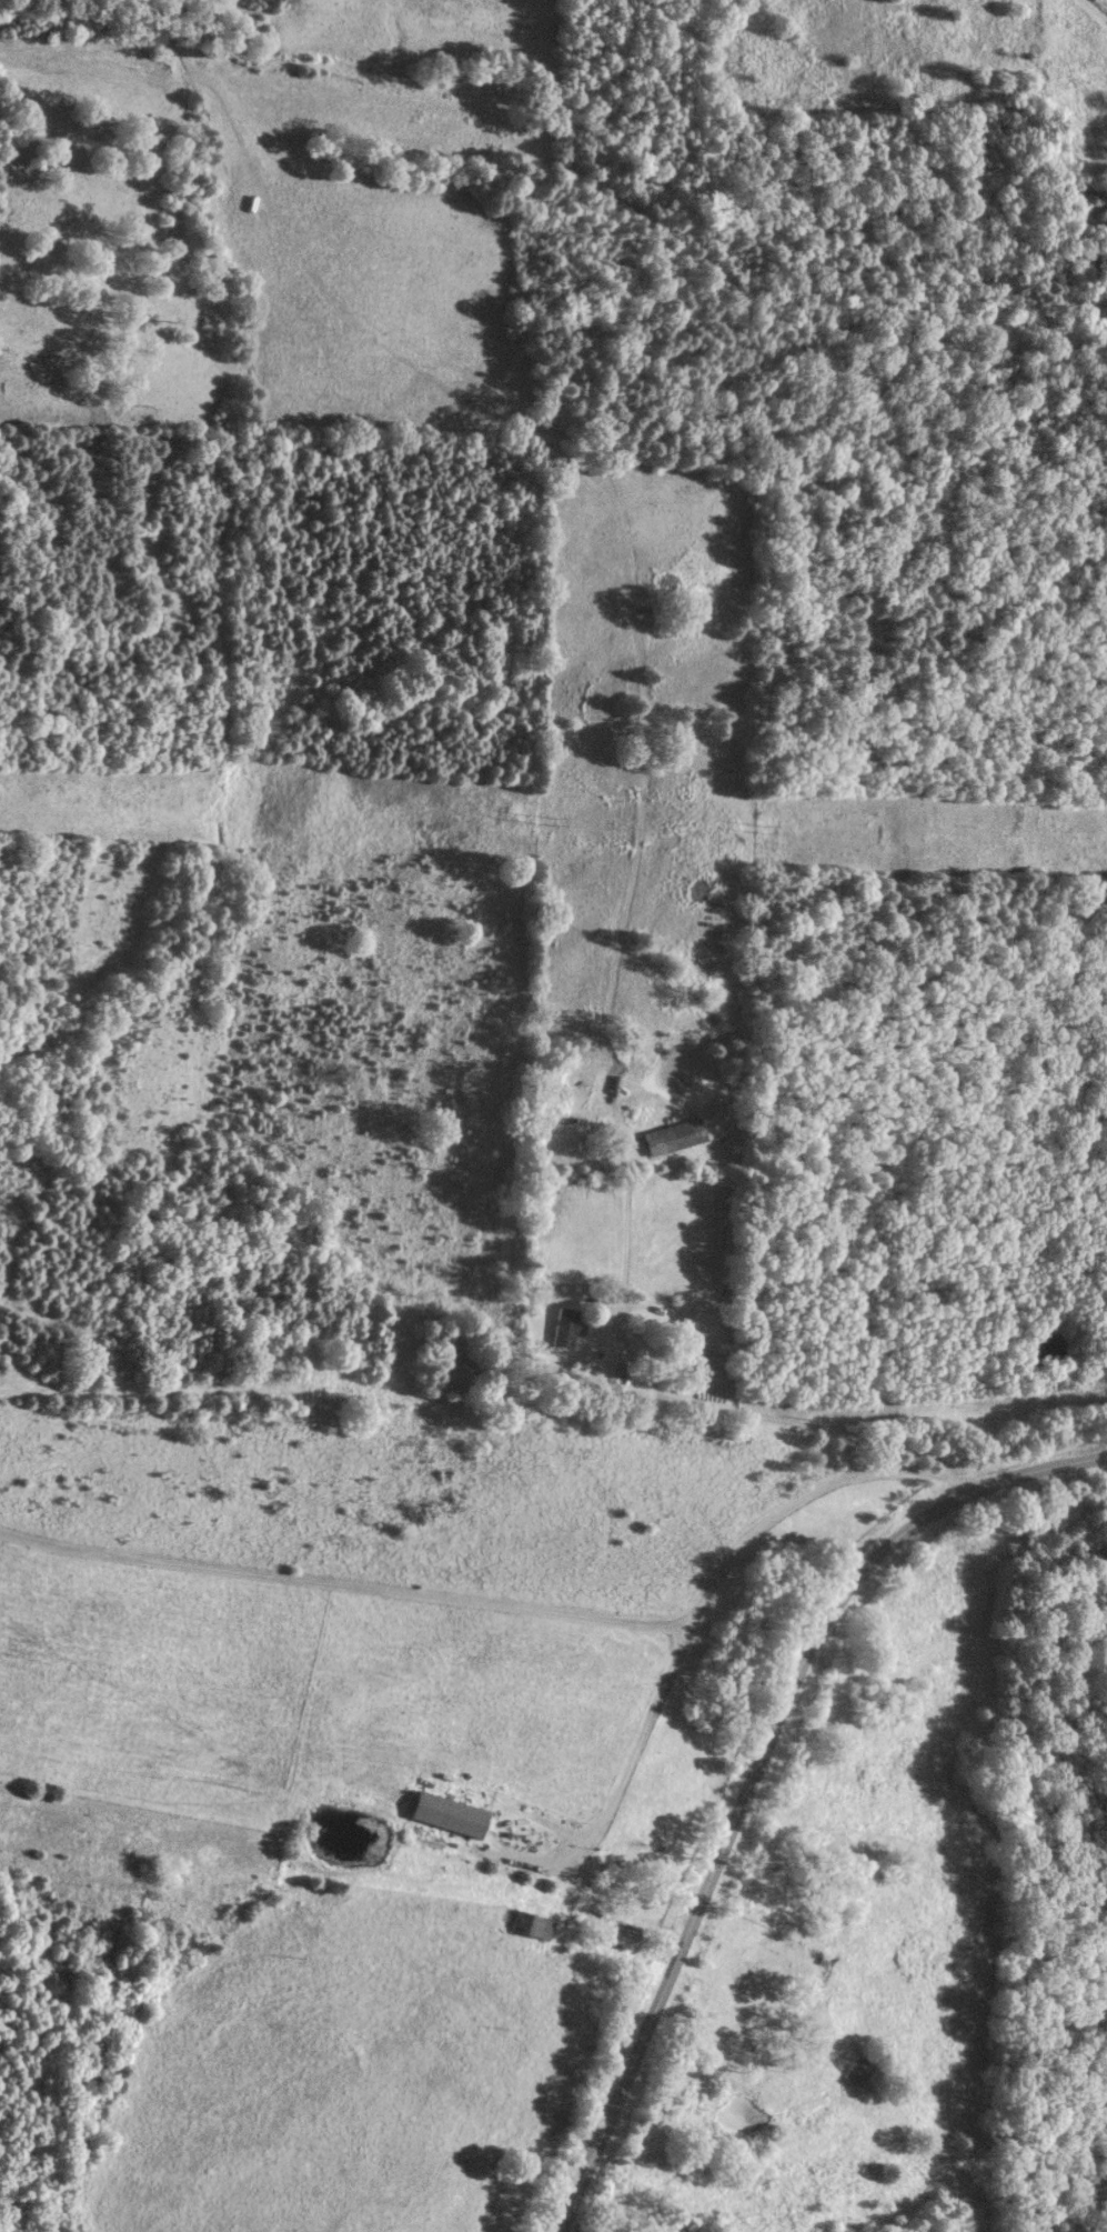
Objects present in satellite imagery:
building: (670, 1137)
building: (563, 1328)
road: (798, 1421)
road: (519, 1611)
road: (758, 1769)
road: (608, 1815)
building: (530, 1926)

